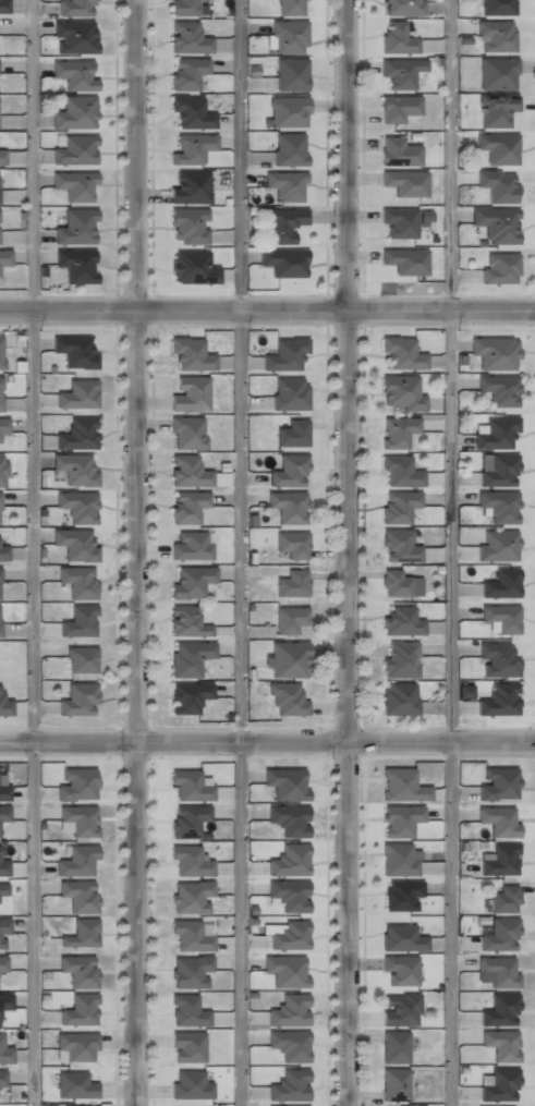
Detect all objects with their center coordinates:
building: (3, 7)
building: (496, 7)
building: (75, 8)
building: (183, 8)
building: (290, 8)
building: (403, 8)
building: (495, 35)
building: (74, 36)
building: (288, 37)
building: (187, 38)
building: (396, 38)
building: (400, 71)
building: (74, 73)
building: (186, 73)
building: (496, 73)
building: (290, 74)
building: (398, 107)
building: (494, 109)
building: (75, 111)
building: (287, 111)
building: (191, 113)
building: (497, 147)
building: (289, 148)
building: (74, 149)
building: (192, 149)
building: (398, 153)
building: (2, 156)
building: (405, 182)
building: (285, 184)
building: (74, 185)
building: (495, 185)
building: (190, 186)
building: (424, 218)
building: (399, 221)
building: (282, 223)
building: (497, 223)
building: (75, 226)
building: (189, 226)
building: (4, 258)
building: (283, 262)
building: (405, 262)
building: (75, 264)
building: (192, 267)
building: (500, 267)
road: (267, 311)
building: (74, 350)
building: (0, 352)
building: (494, 352)
building: (190, 353)
building: (401, 353)
building: (284, 355)
building: (499, 389)
building: (0, 392)
building: (190, 392)
building: (77, 393)
building: (289, 393)
building: (401, 393)
building: (3, 426)
building: (187, 432)
building: (397, 432)
building: (495, 432)
building: (77, 433)
building: (292, 433)
building: (75, 467)
building: (2, 470)
building: (289, 470)
building: (401, 471)
building: (498, 471)
building: (194, 473)
building: (0, 495)
building: (398, 505)
building: (77, 506)
building: (186, 506)
building: (288, 506)
building: (499, 506)
building: (74, 543)
building: (292, 543)
building: (192, 546)
building: (399, 546)
building: (498, 546)
building: (3, 551)
road: (34, 552)
road: (144, 552)
road: (240, 552)
road: (349, 552)
road: (450, 552)
building: (78, 581)
building: (191, 581)
building: (394, 582)
building: (292, 583)
building: (500, 583)
building: (0, 597)
building: (500, 617)
building: (290, 619)
building: (400, 620)
building: (78, 621)
building: (185, 621)
building: (0, 635)
building: (189, 657)
building: (400, 658)
building: (81, 659)
building: (287, 659)
building: (497, 659)
building: (189, 697)
building: (399, 698)
building: (77, 700)
building: (285, 700)
building: (499, 700)
building: (4, 706)
road: (267, 745)
building: (287, 782)
building: (498, 782)
building: (76, 783)
building: (401, 785)
building: (189, 787)
building: (3, 793)
building: (3, 814)
building: (289, 819)
building: (400, 819)
building: (498, 819)
building: (77, 821)
building: (187, 821)
building: (289, 859)
building: (400, 859)
building: (500, 859)
building: (77, 860)
building: (190, 861)
building: (3, 865)
building: (3, 889)
building: (78, 895)
building: (288, 895)
building: (402, 895)
building: (191, 897)
building: (504, 898)
building: (3, 933)
building: (81, 933)
building: (499, 934)
building: (189, 935)
building: (289, 935)
building: (401, 937)
building: (2, 963)
building: (399, 969)
building: (78, 970)
building: (285, 970)
building: (498, 970)
building: (191, 971)
building: (5, 1001)
building: (500, 1008)
building: (80, 1009)
building: (289, 1009)
building: (399, 1009)
building: (187, 1010)
building: (500, 1044)
building: (76, 1045)
building: (289, 1045)
building: (187, 1046)
building: (394, 1046)
building: (4, 1053)
building: (2, 1079)
building: (394, 1083)
building: (74, 1084)
building: (190, 1084)
building: (289, 1084)
building: (500, 1084)
building: (90, 1105)
building: (287, 1105)
building: (307, 1105)

